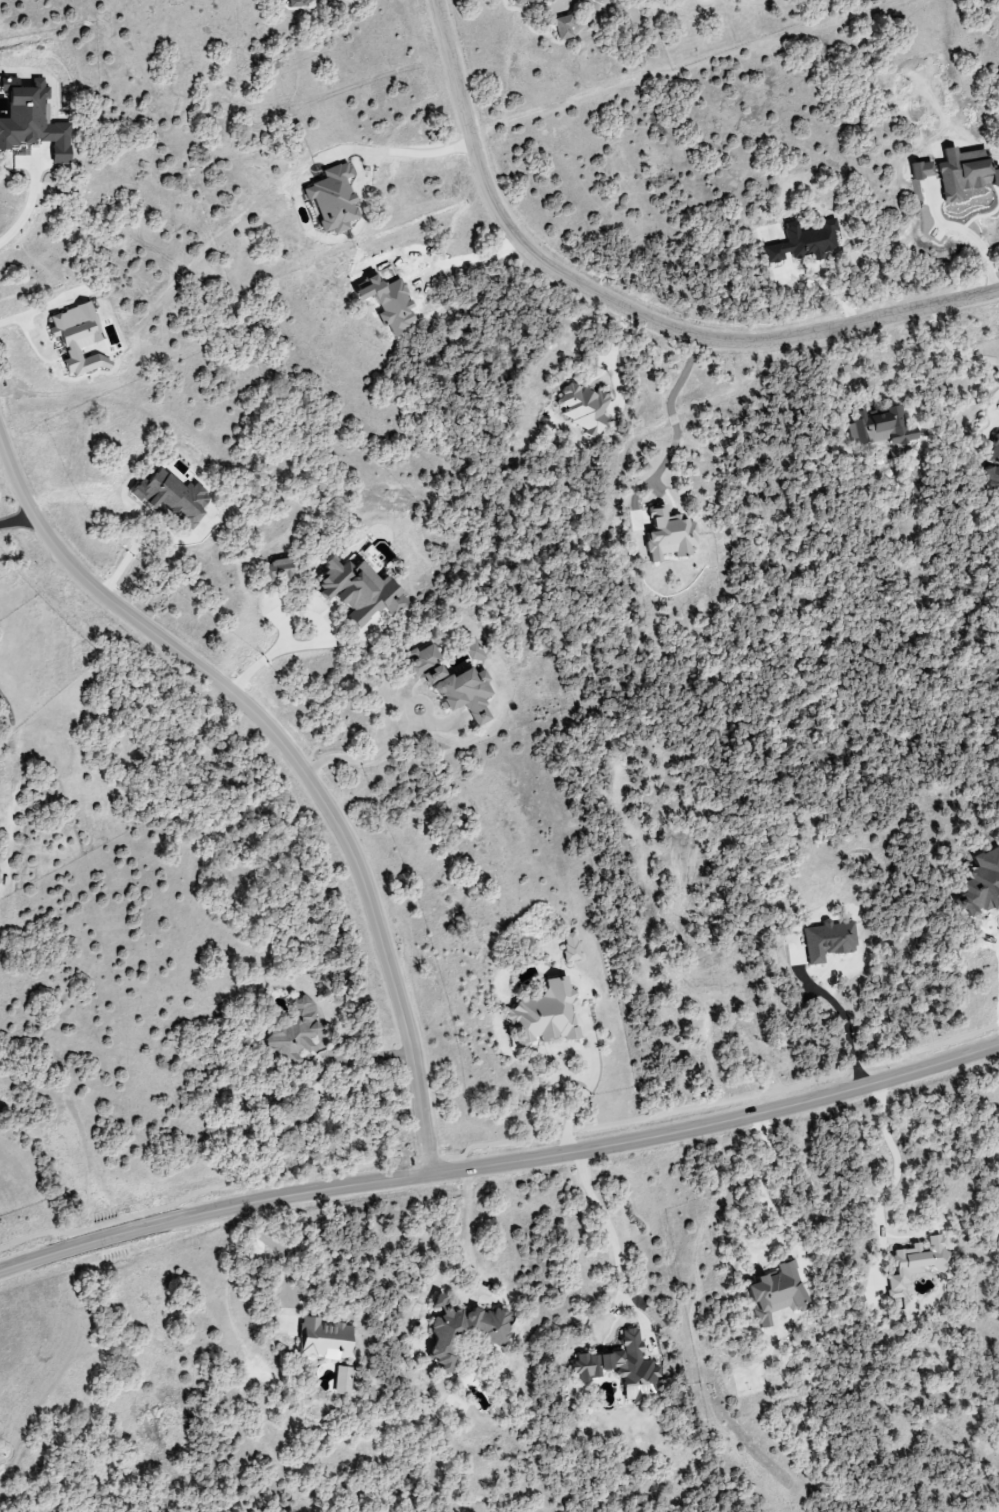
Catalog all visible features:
building: (522, 0)
building: (545, 0)
building: (297, 3)
building: (564, 27)
building: (33, 120)
road: (412, 151)
building: (923, 170)
building: (965, 173)
building: (334, 199)
road: (25, 211)
building: (804, 242)
road: (623, 311)
building: (78, 338)
road: (953, 350)
road: (857, 380)
building: (584, 408)
road: (677, 415)
building: (881, 427)
building: (994, 465)
road: (66, 492)
building: (173, 496)
road: (14, 519)
building: (670, 535)
building: (277, 569)
building: (360, 589)
road: (275, 647)
building: (473, 650)
building: (422, 659)
building: (462, 690)
road: (366, 756)
road: (292, 763)
building: (829, 940)
building: (571, 947)
building: (547, 1015)
road: (843, 1025)
building: (296, 1031)
road: (578, 1098)
road: (895, 1158)
road: (501, 1165)
road: (765, 1183)
road: (617, 1247)
road: (278, 1256)
building: (918, 1263)
road: (452, 1264)
building: (776, 1294)
building: (464, 1330)
building: (325, 1340)
building: (623, 1368)
building: (343, 1381)

